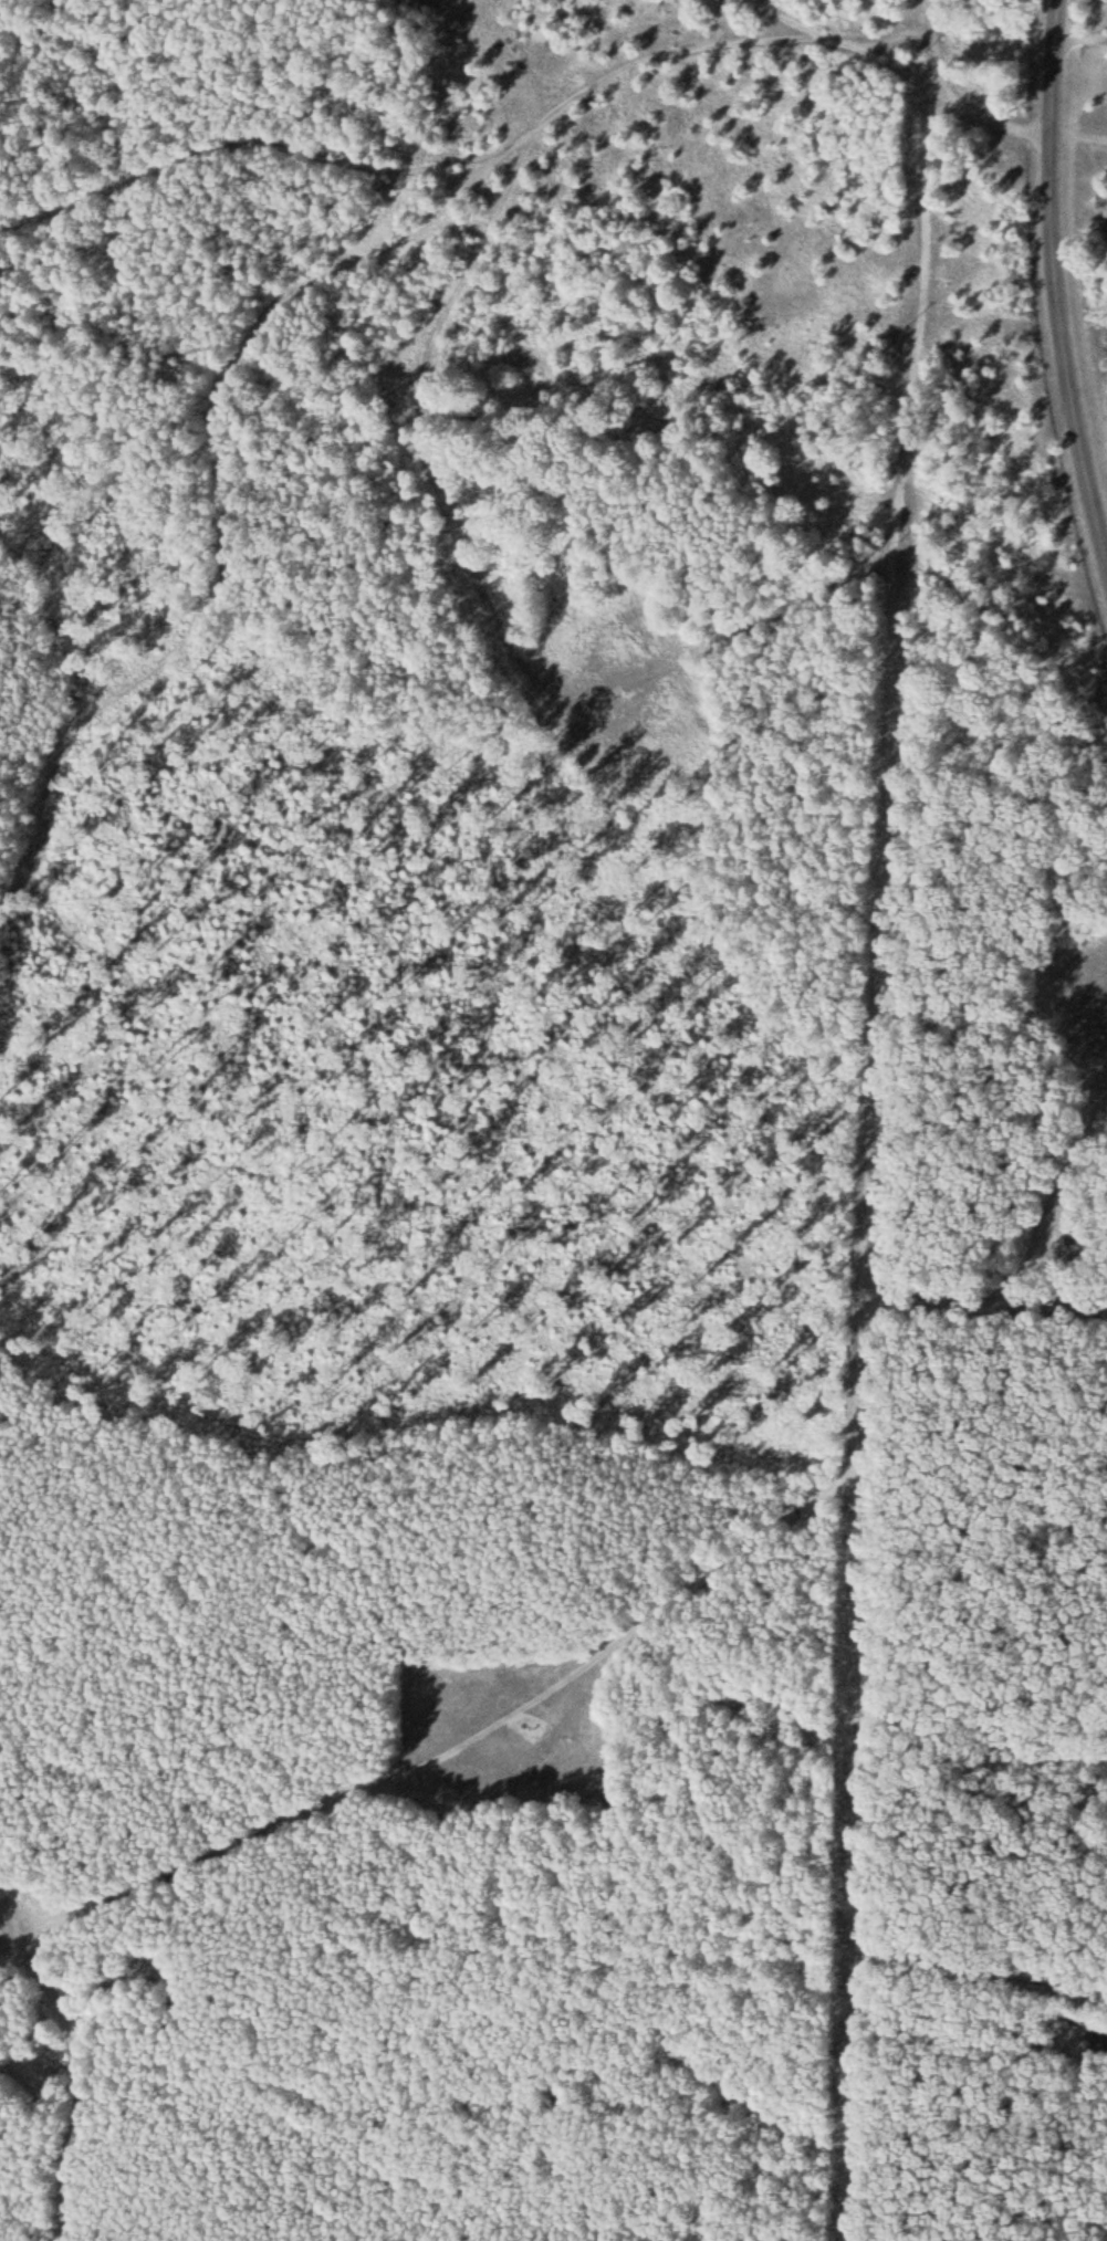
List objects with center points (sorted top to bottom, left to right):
road: (863, 43)
road: (936, 43)
road: (427, 153)
road: (1083, 264)
road: (1059, 276)
road: (752, 612)
road: (860, 1197)
road: (72, 2064)

